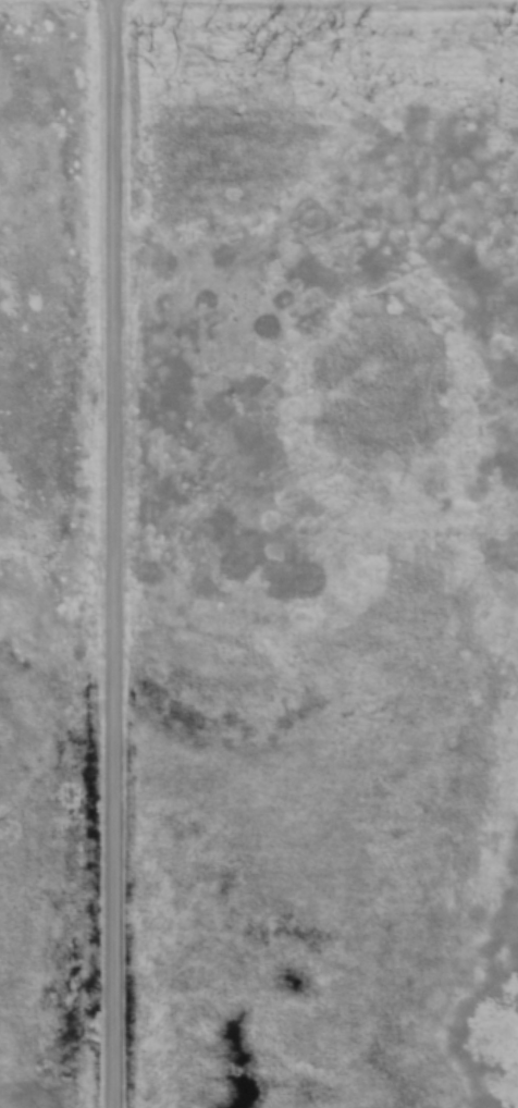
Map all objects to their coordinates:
road: (108, 554)

